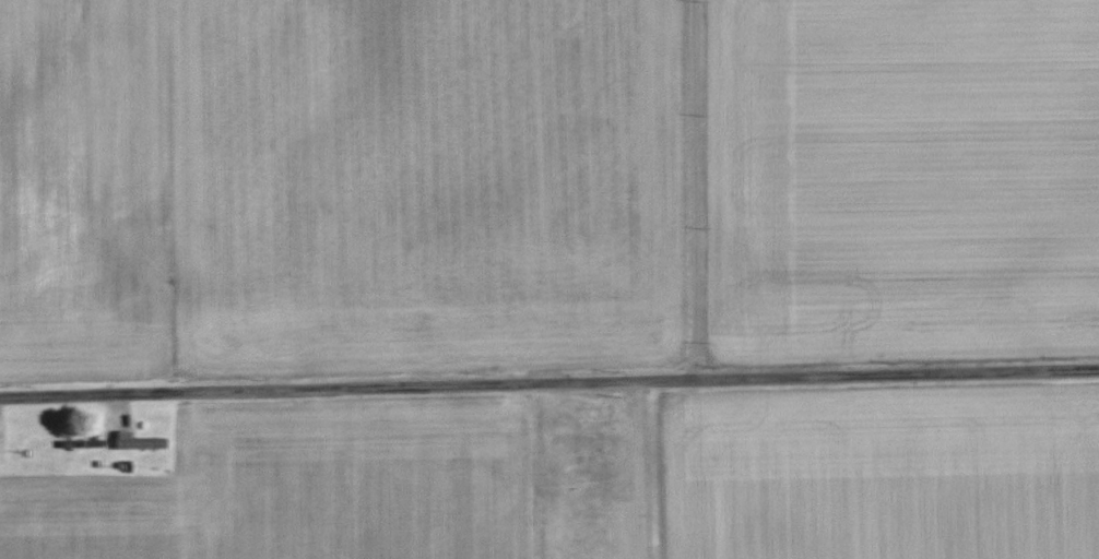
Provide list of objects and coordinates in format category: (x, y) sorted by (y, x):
road: (692, 189)
road: (548, 381)
road: (635, 469)

